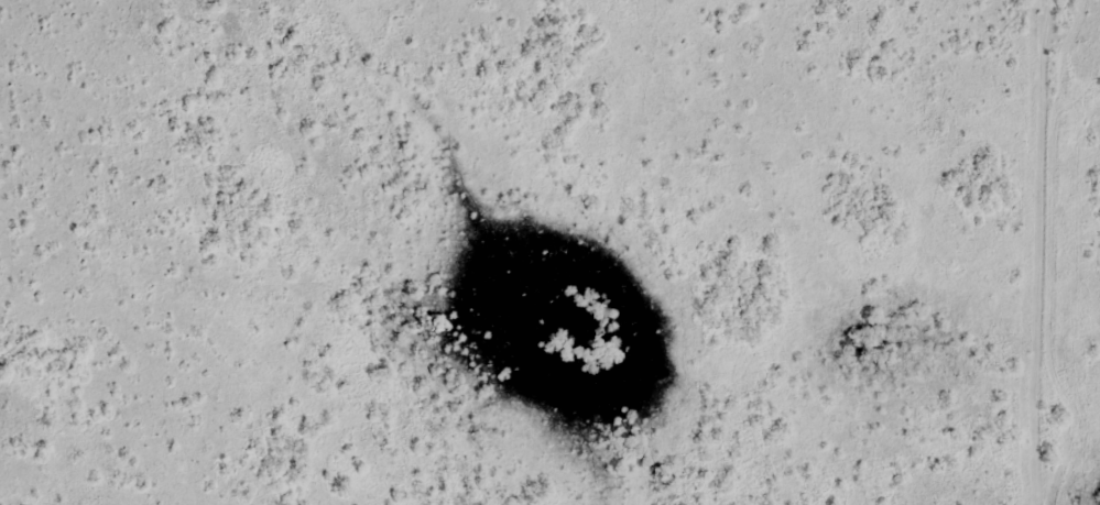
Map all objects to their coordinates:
road: (989, 252)

